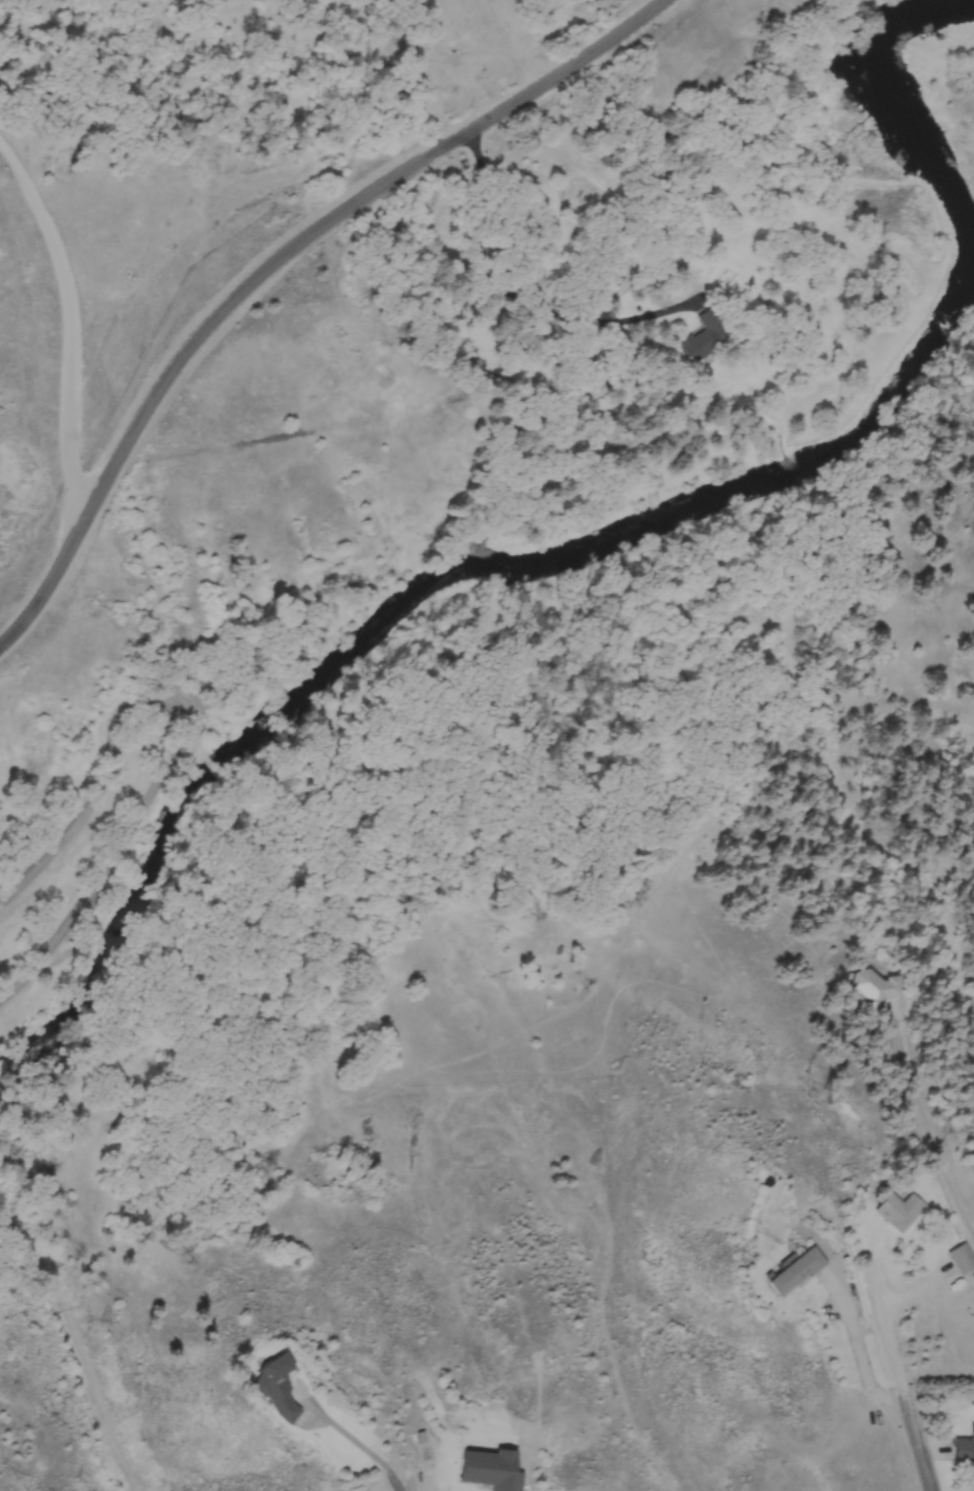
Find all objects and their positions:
river: (905, 114)
road: (276, 262)
road: (551, 282)
road: (67, 331)
building: (705, 337)
river: (436, 587)
road: (179, 738)
building: (855, 988)
road: (927, 1128)
building: (899, 1208)
building: (963, 1257)
building: (792, 1271)
road: (895, 1344)
road: (862, 1345)
building: (257, 1391)
road: (922, 1444)
building: (964, 1447)
building: (493, 1470)
road: (405, 1489)

